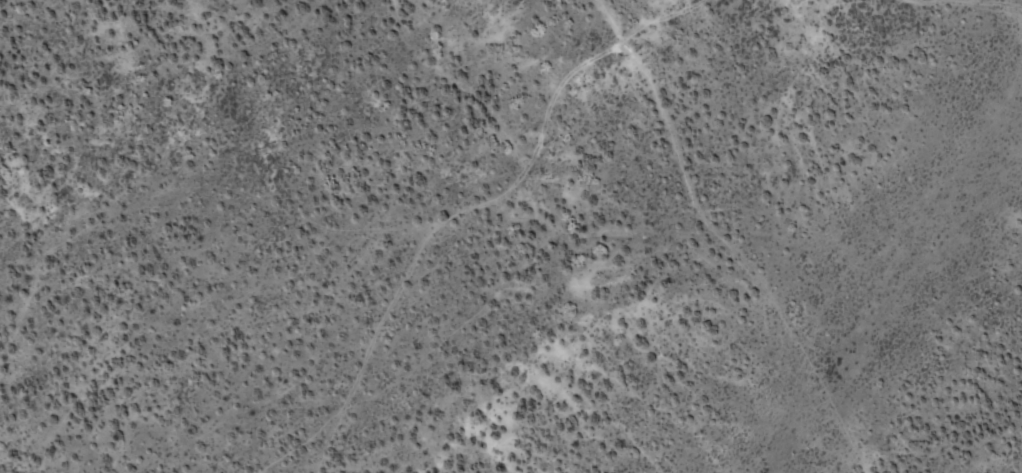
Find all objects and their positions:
road: (722, 240)

